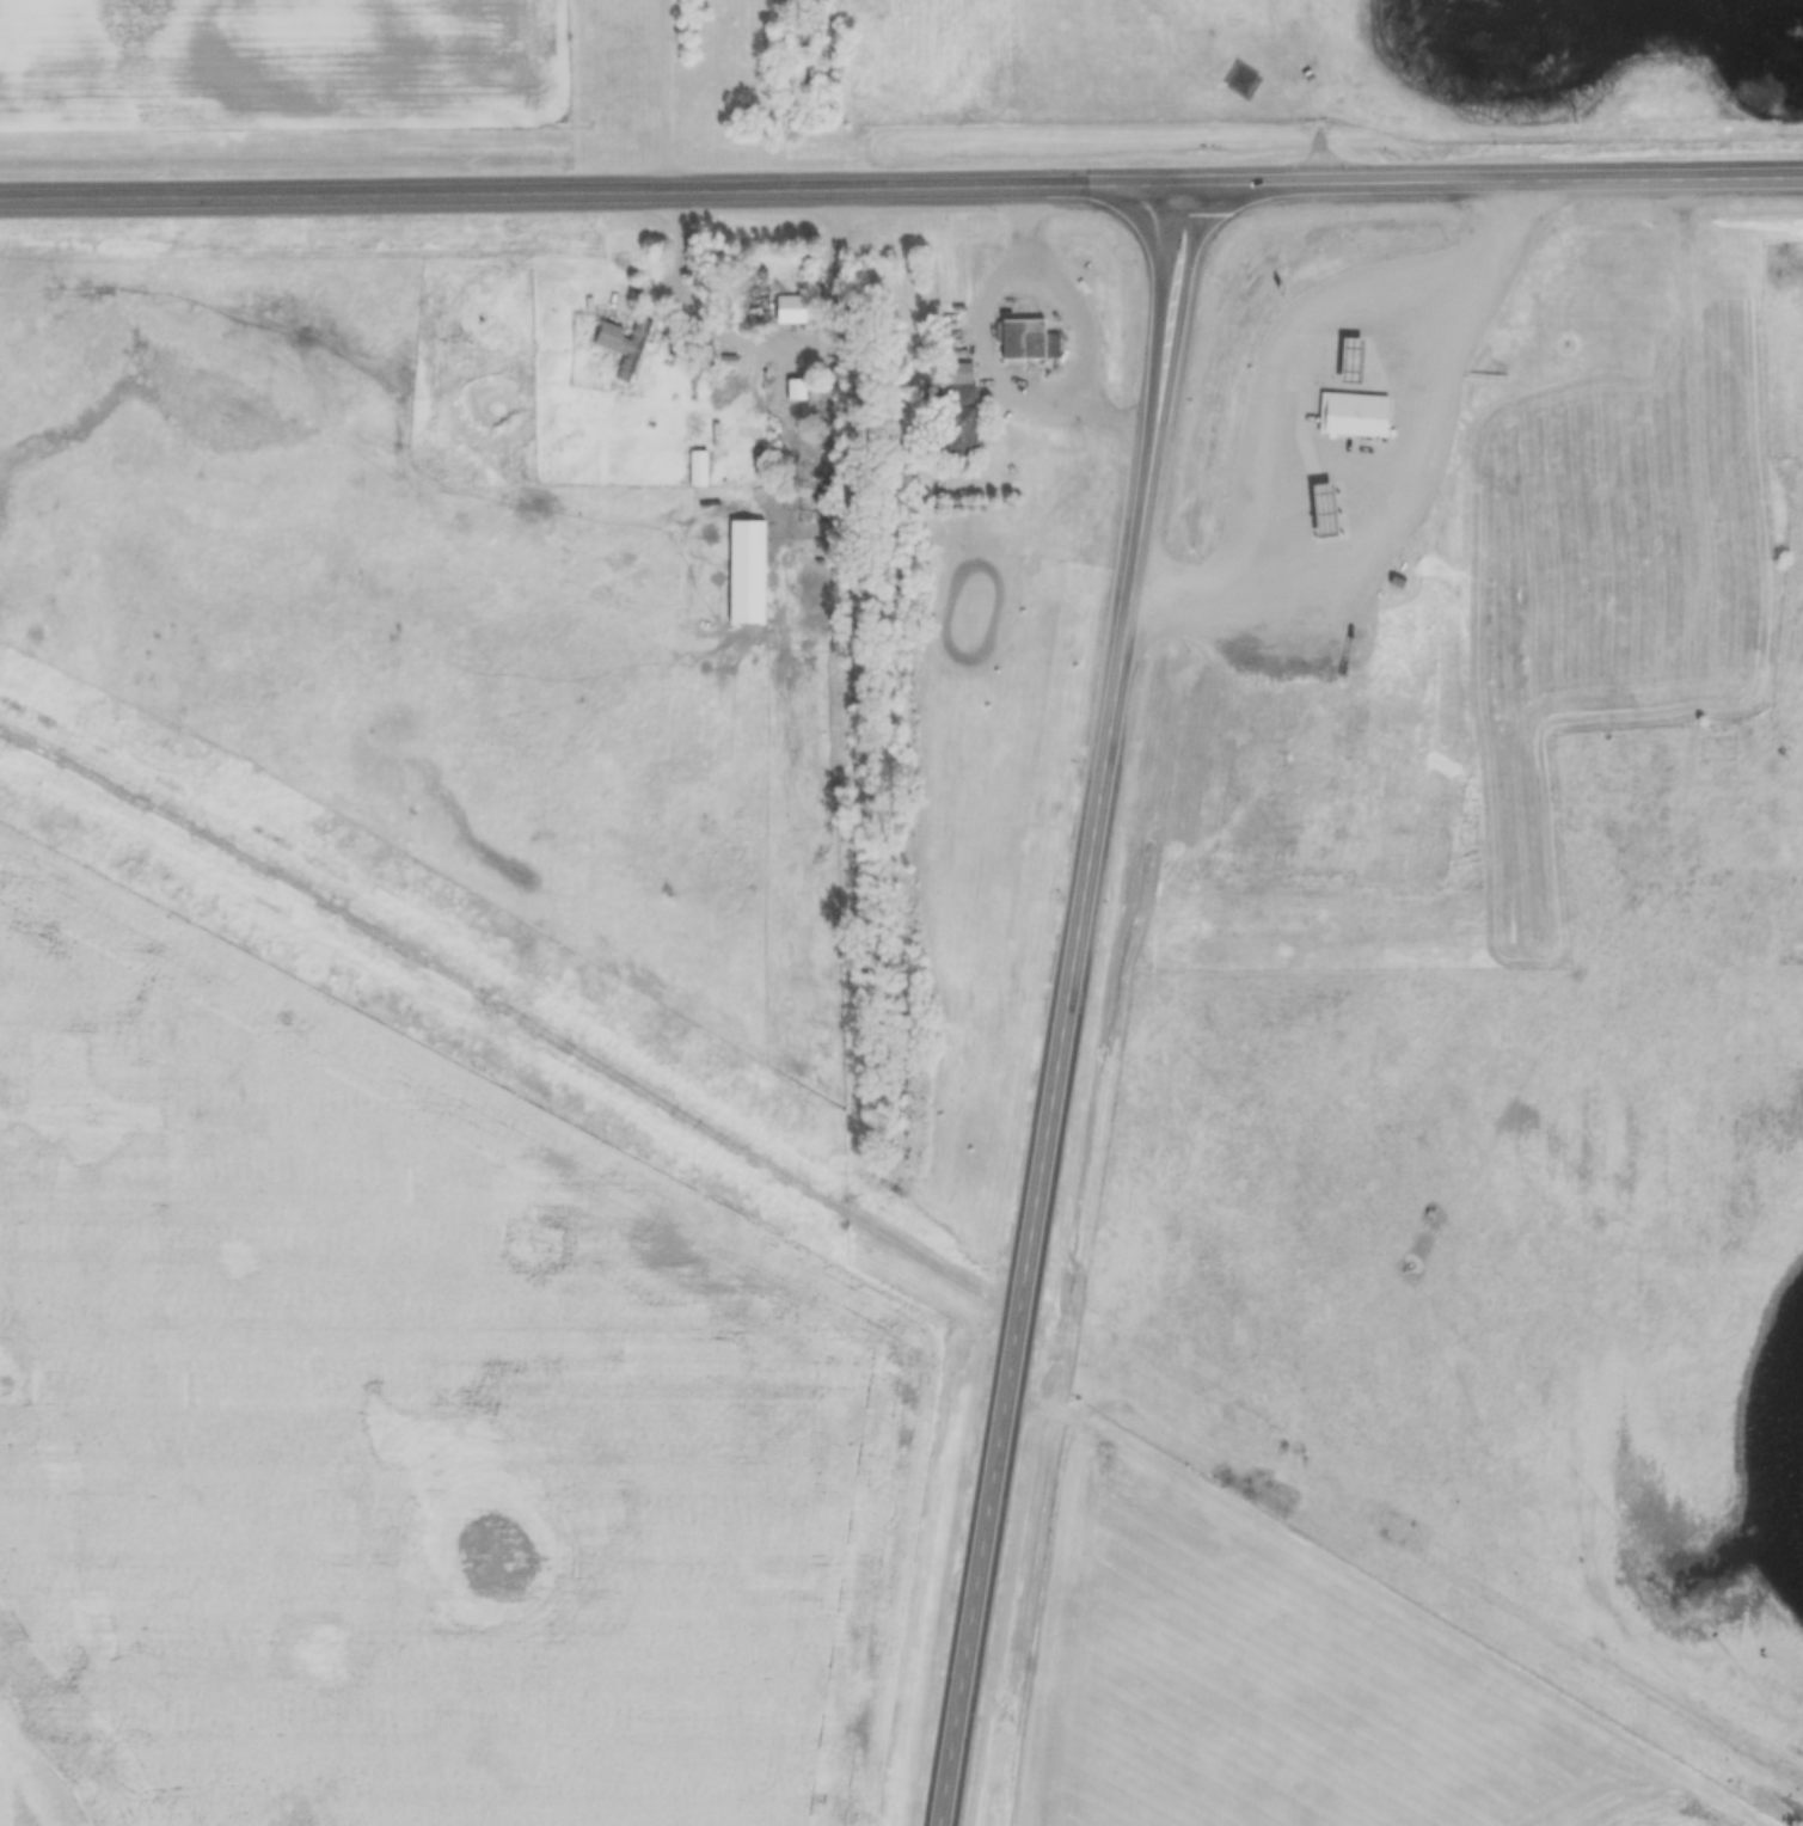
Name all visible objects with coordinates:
road: (658, 94)
road: (1489, 179)
road: (588, 190)
building: (778, 306)
building: (1028, 341)
building: (625, 345)
road: (1262, 359)
road: (1066, 391)
building: (961, 409)
building: (1355, 417)
road: (1102, 423)
building: (697, 470)
road: (1397, 495)
road: (1061, 1005)

